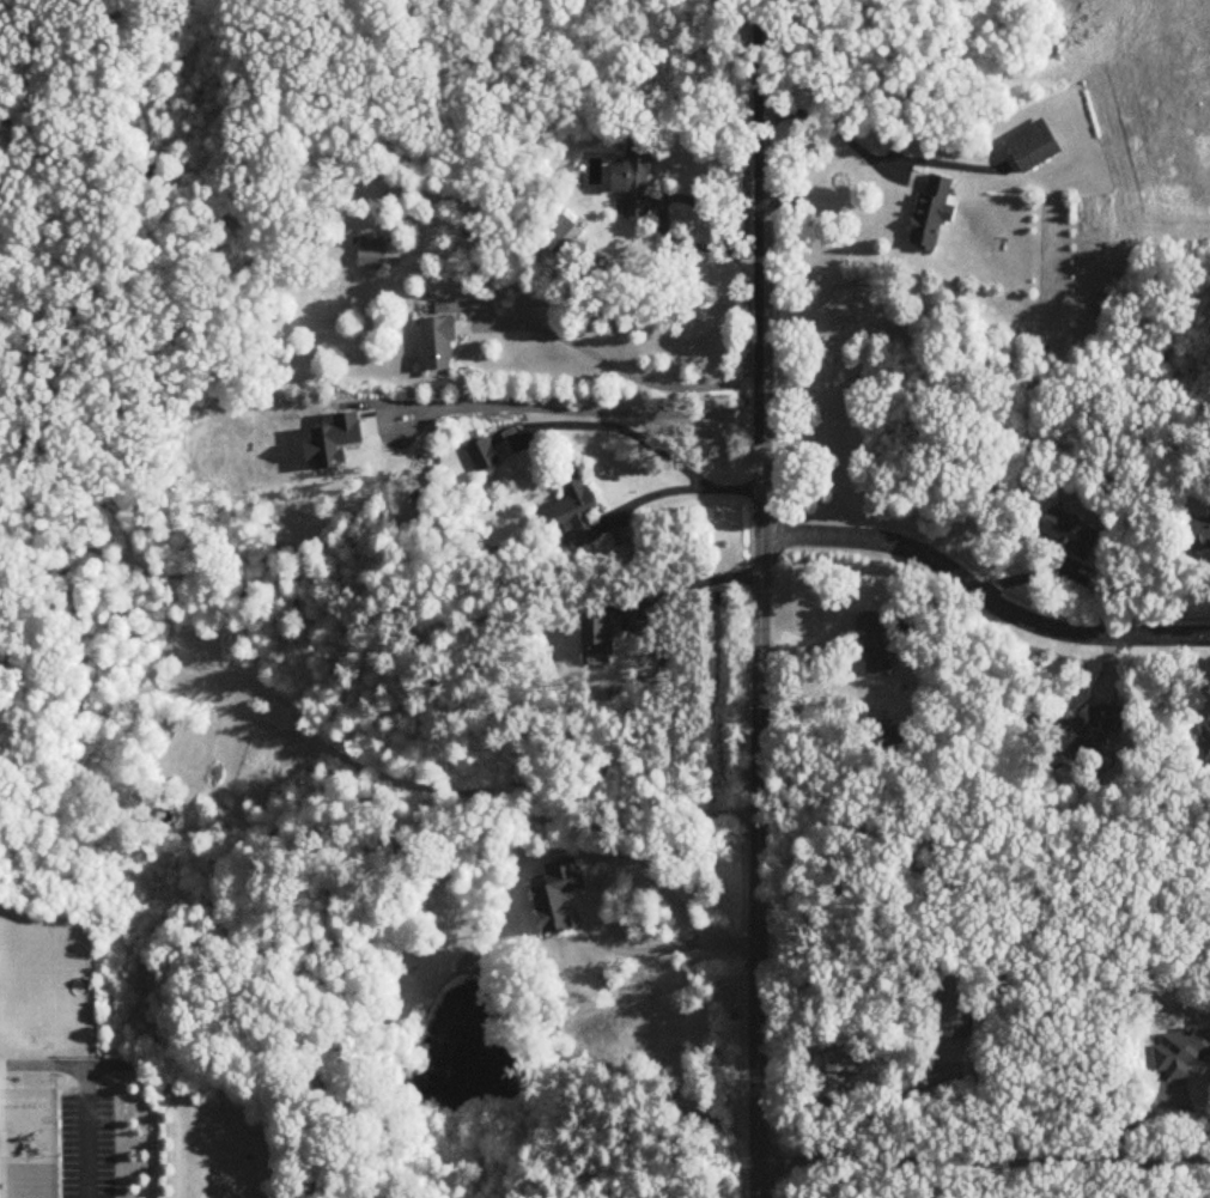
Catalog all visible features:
road: (838, 129)
building: (1035, 146)
building: (637, 178)
building: (934, 211)
building: (566, 236)
building: (379, 253)
building: (440, 345)
road: (621, 366)
road: (572, 407)
building: (485, 456)
road: (680, 487)
building: (576, 513)
building: (1071, 533)
building: (1199, 533)
road: (691, 585)
road: (983, 594)
road: (764, 598)
building: (604, 634)
building: (877, 644)
building: (1096, 730)
building: (1206, 742)
road: (608, 864)
building: (564, 898)
park: (50, 983)
building: (955, 1012)
building: (839, 1052)
building: (1184, 1054)
road: (85, 1130)
road: (986, 1162)

